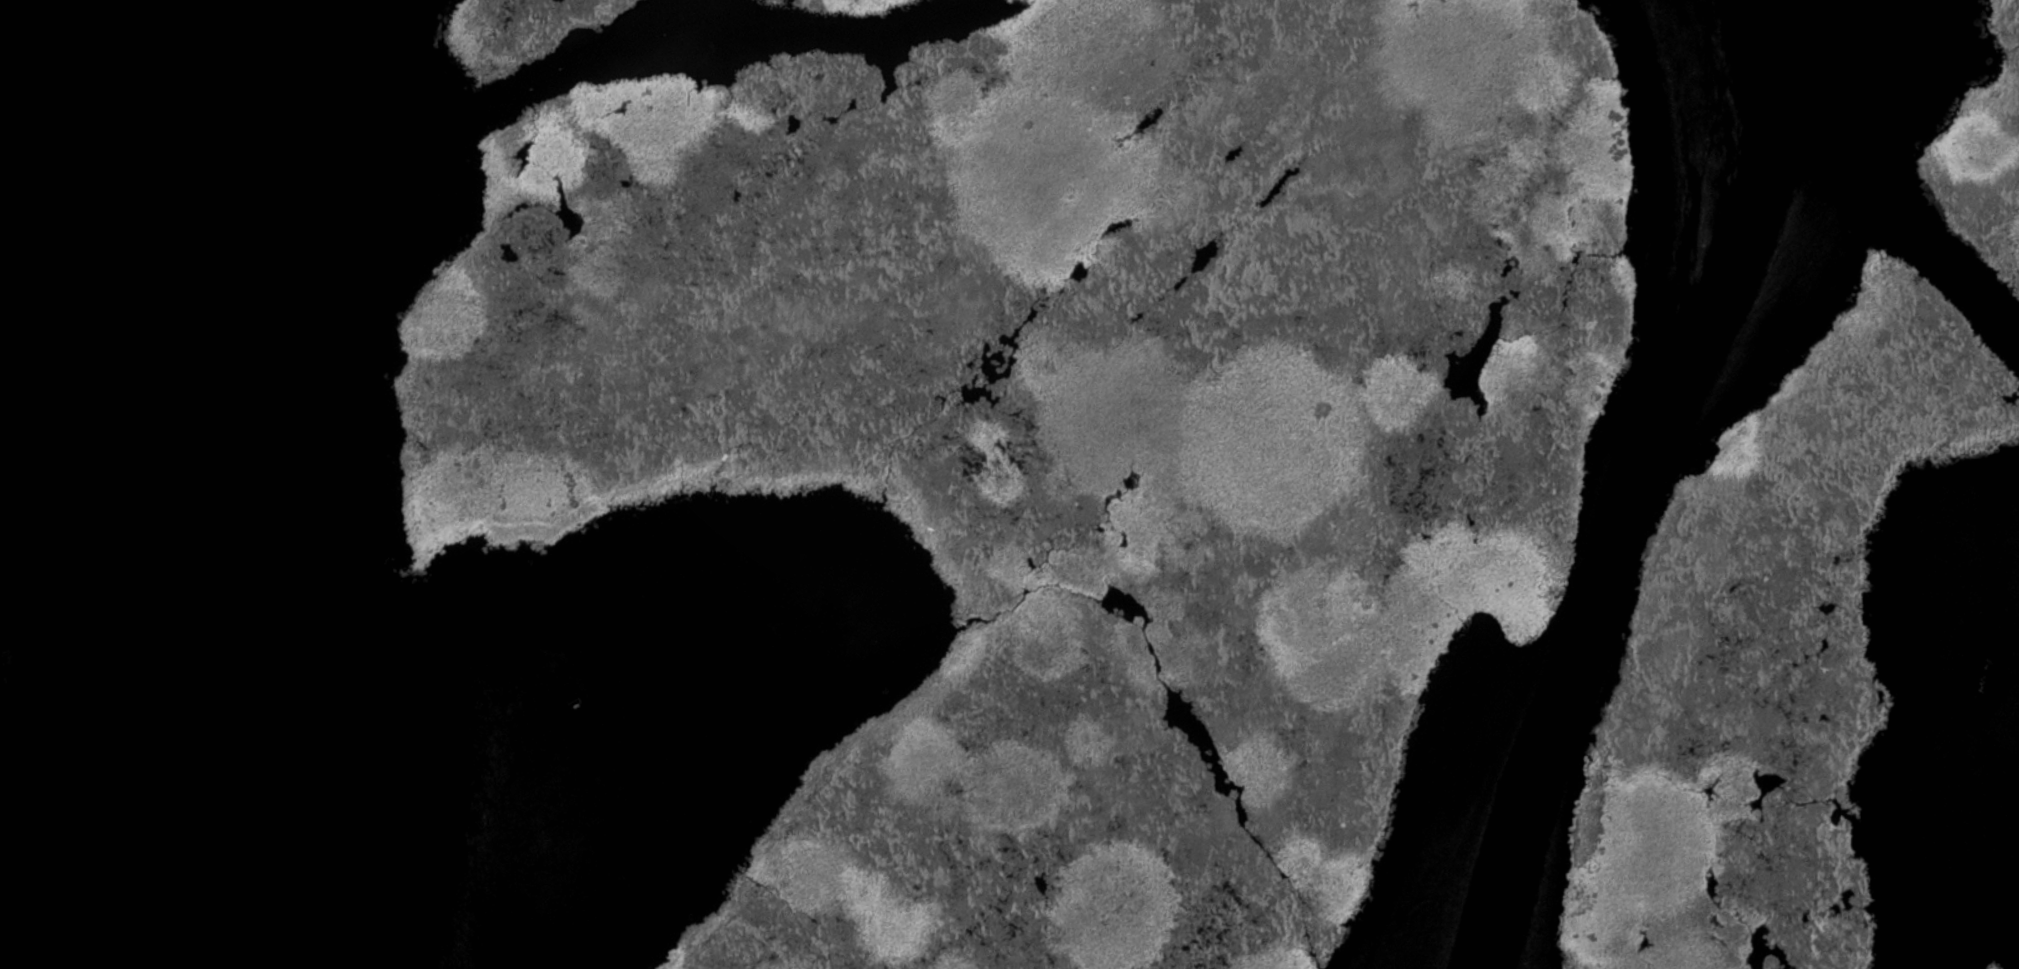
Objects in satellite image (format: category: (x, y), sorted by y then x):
river: (63, 181)

